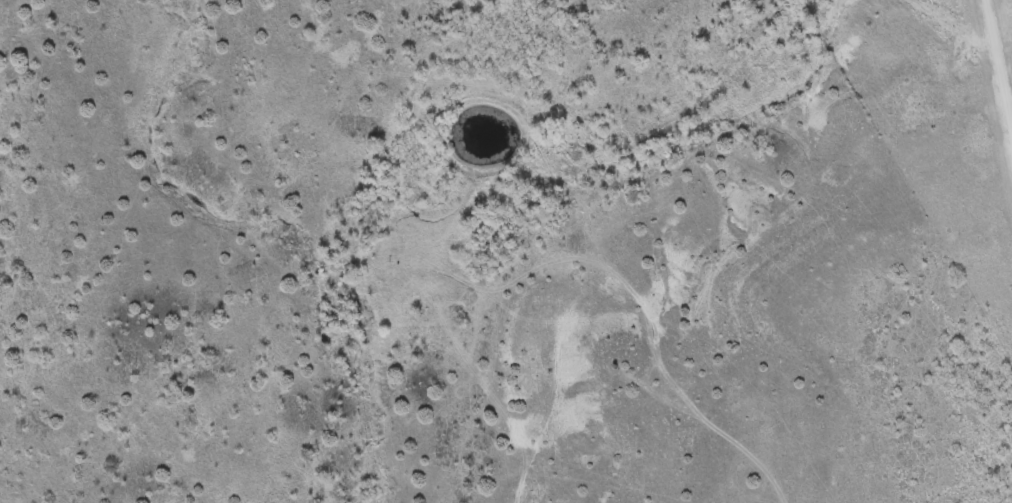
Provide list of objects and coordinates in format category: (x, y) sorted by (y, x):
road: (996, 82)
road: (1007, 112)

